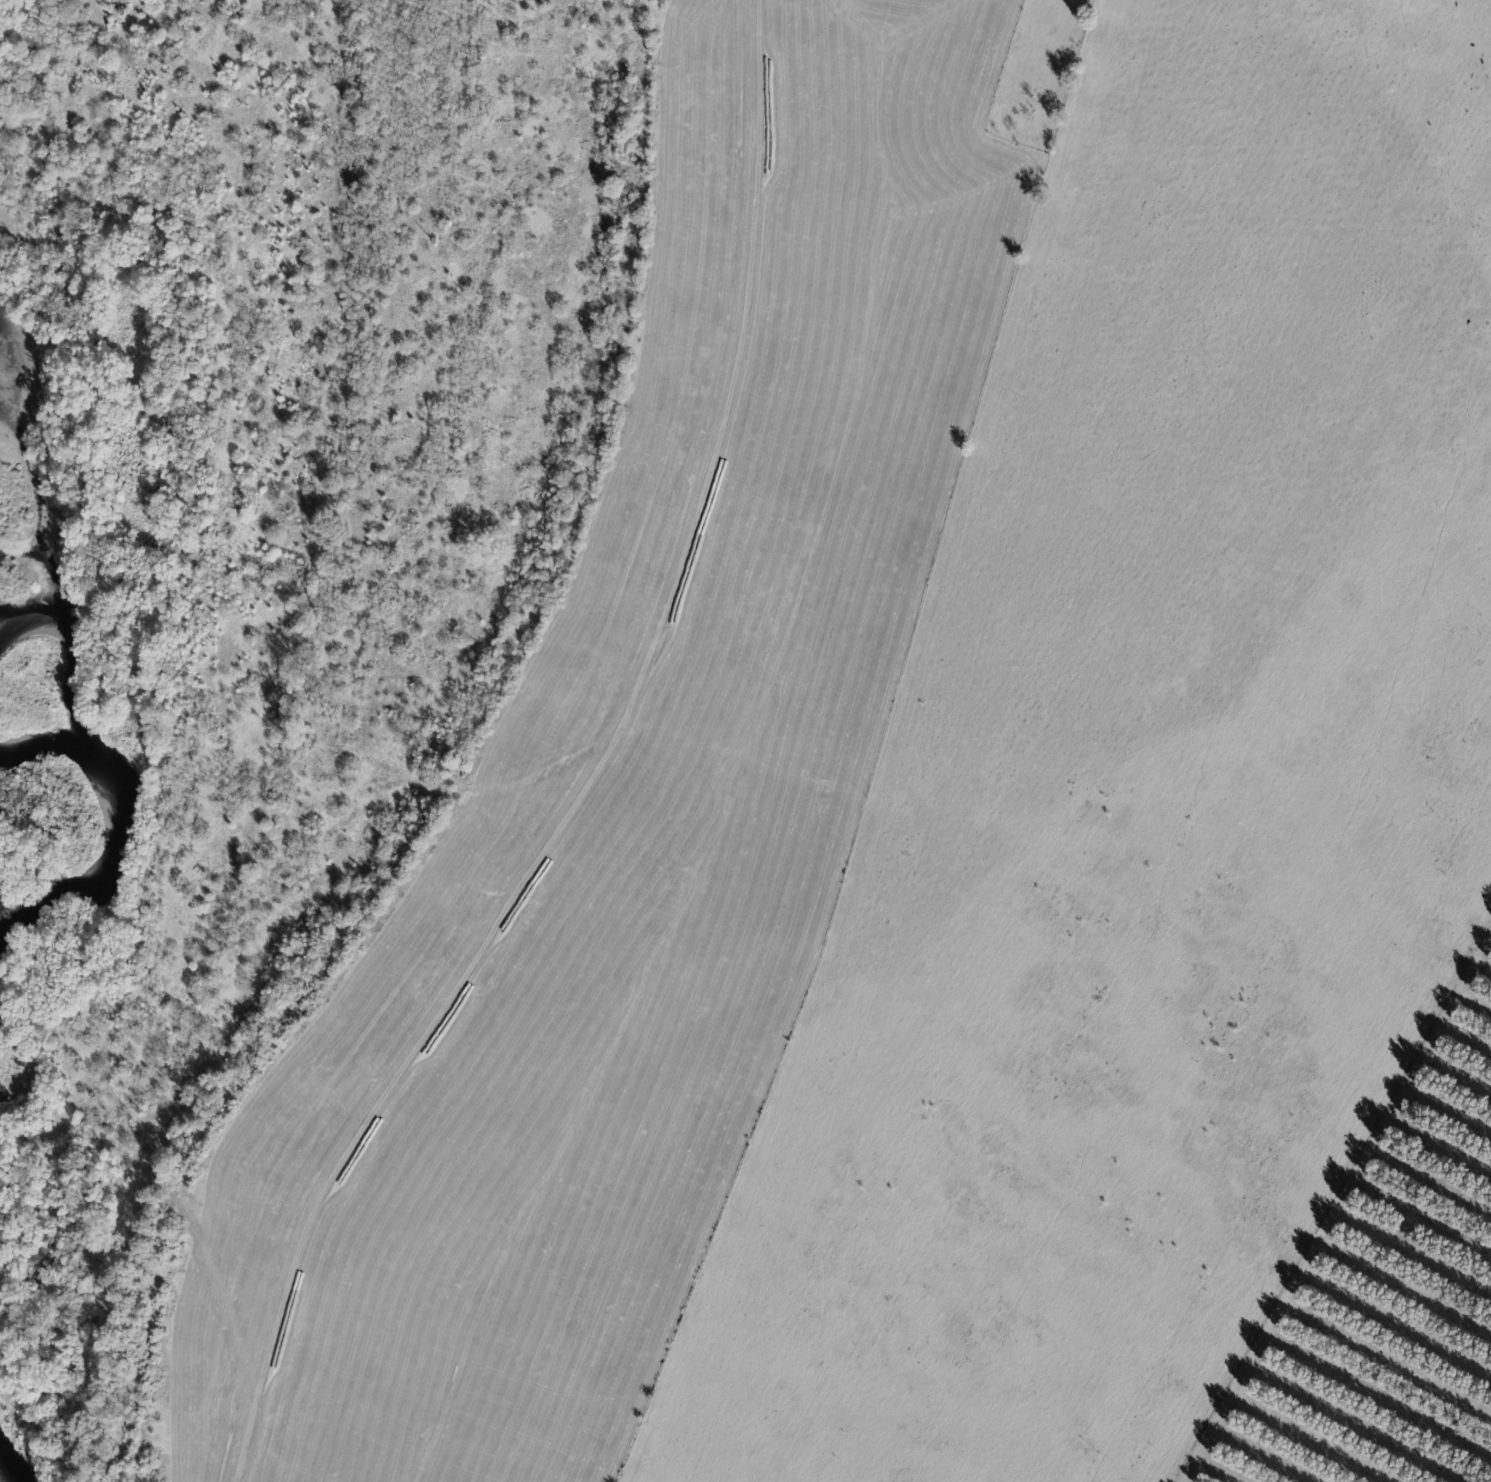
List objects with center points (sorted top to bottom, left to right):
building: (1051, 29)
road: (596, 774)
crop: (1141, 782)
river: (5, 1474)

